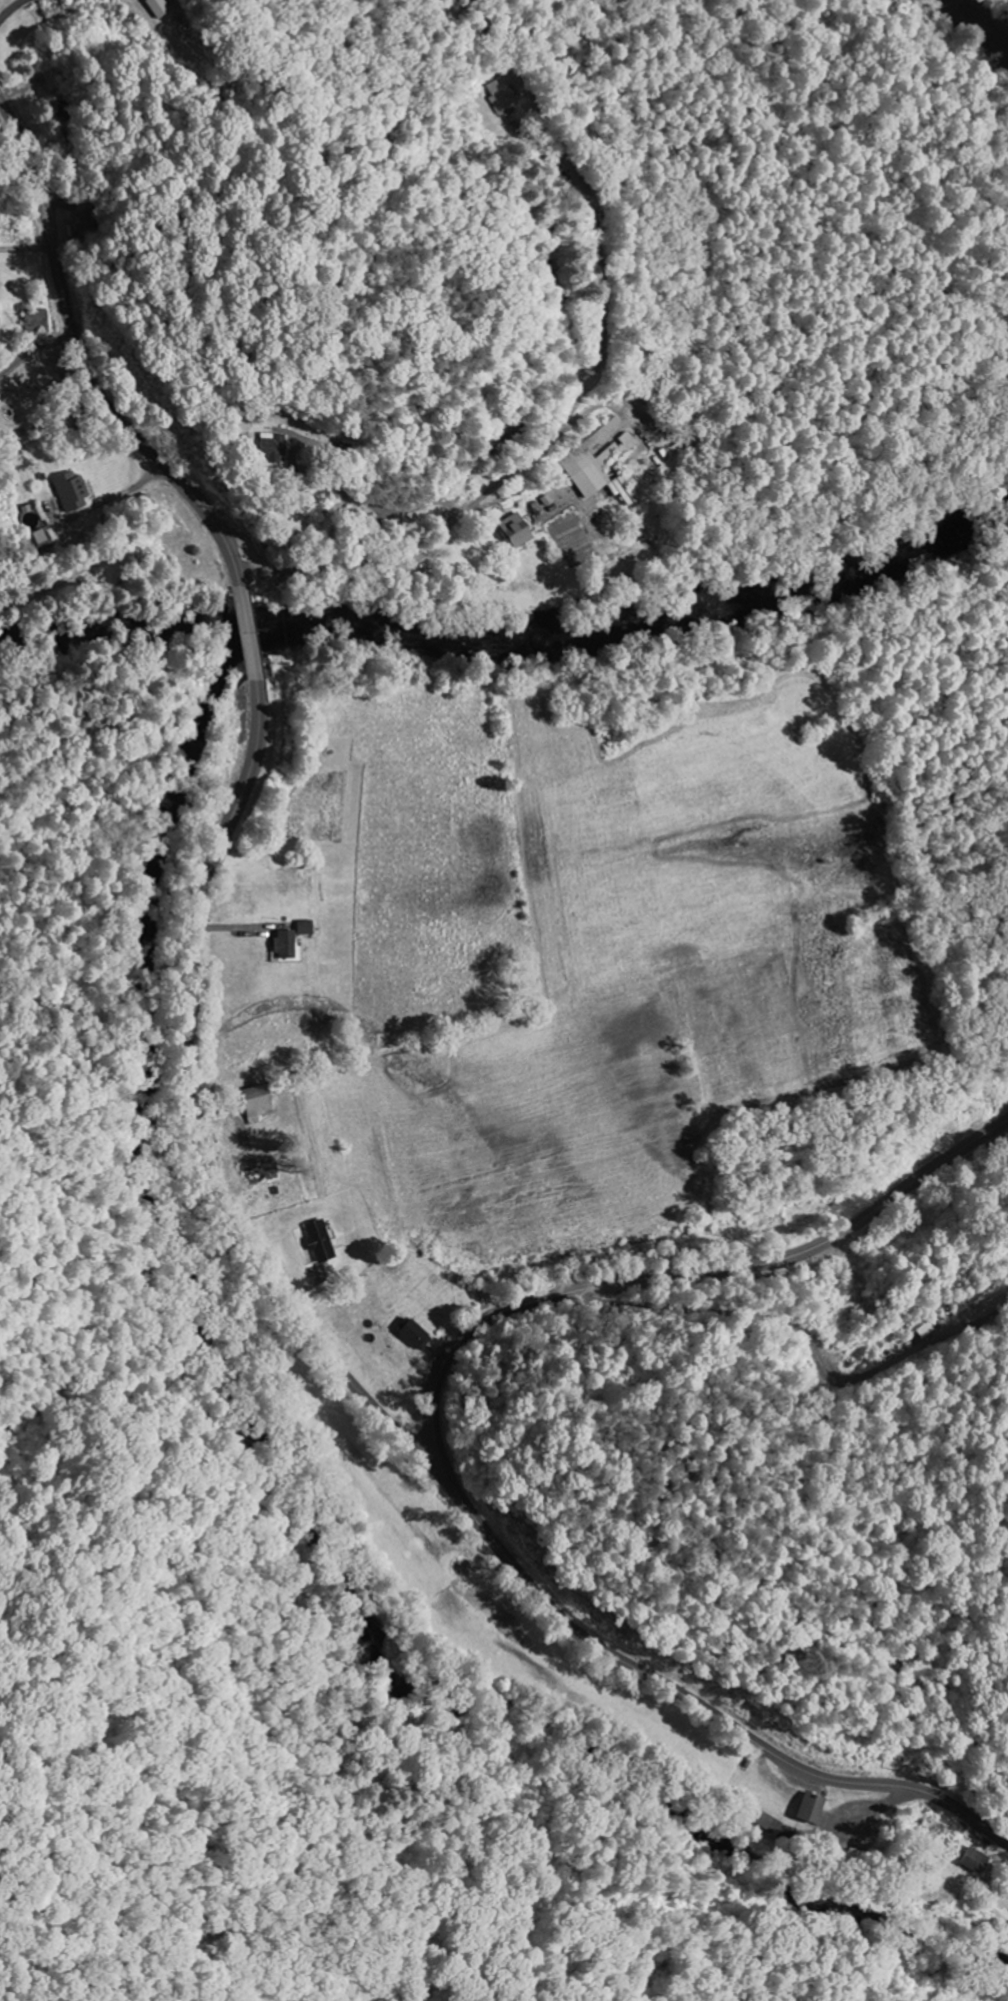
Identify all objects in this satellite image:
building: (159, 7)
river: (990, 27)
building: (501, 95)
building: (86, 218)
building: (39, 319)
road: (84, 362)
building: (516, 432)
building: (277, 444)
building: (601, 463)
building: (72, 491)
building: (39, 530)
building: (518, 530)
road: (430, 547)
road: (100, 560)
river: (680, 609)
river: (168, 619)
road: (248, 633)
building: (287, 944)
building: (259, 1102)
road: (191, 1127)
river: (131, 1157)
building: (322, 1241)
road: (668, 1275)
building: (985, 1306)
building: (417, 1335)
road: (707, 1708)
building: (814, 1809)
building: (769, 1823)
building: (976, 1861)

